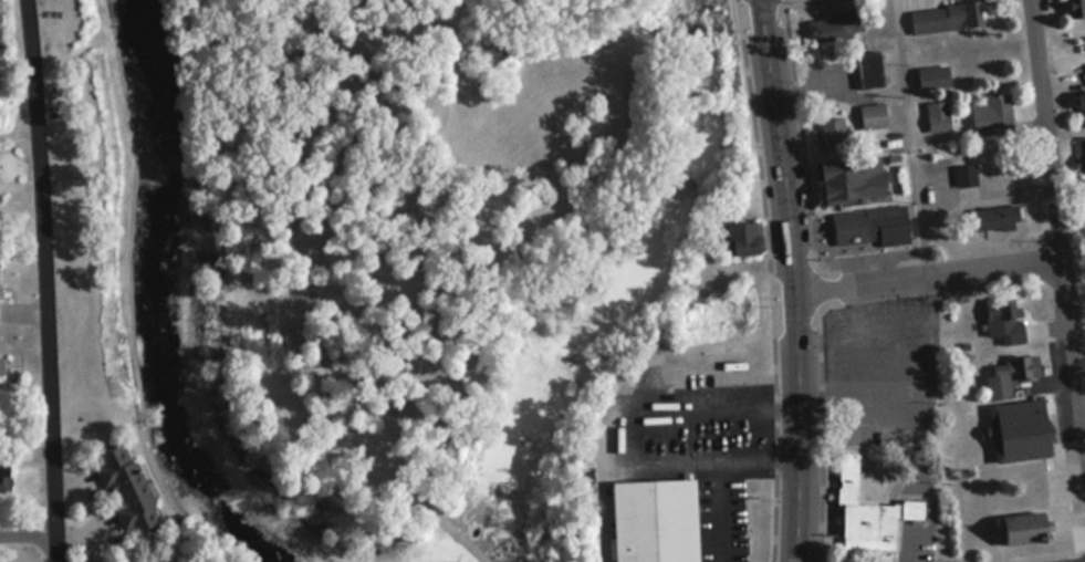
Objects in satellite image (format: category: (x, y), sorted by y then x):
building: (1073, 7)
building: (945, 17)
building: (824, 30)
building: (867, 69)
building: (931, 76)
building: (1079, 111)
building: (992, 114)
building: (872, 115)
building: (937, 121)
building: (832, 131)
road: (800, 133)
road: (909, 137)
building: (1082, 153)
building: (964, 176)
building: (855, 178)
building: (959, 211)
road: (1058, 221)
building: (1000, 225)
building: (868, 227)
road: (419, 237)
building: (741, 239)
road: (909, 261)
road: (929, 273)
road: (48, 280)
road: (772, 280)
road: (794, 280)
building: (1002, 322)
road: (889, 331)
building: (1, 365)
building: (1009, 375)
parking lot: (889, 391)
road: (820, 426)
road: (634, 427)
building: (1015, 429)
road: (949, 435)
road: (860, 440)
building: (6, 482)
building: (123, 490)
road: (720, 506)
building: (868, 513)
road: (441, 519)
building: (651, 520)
building: (1021, 528)
road: (29, 530)
road: (1044, 554)

